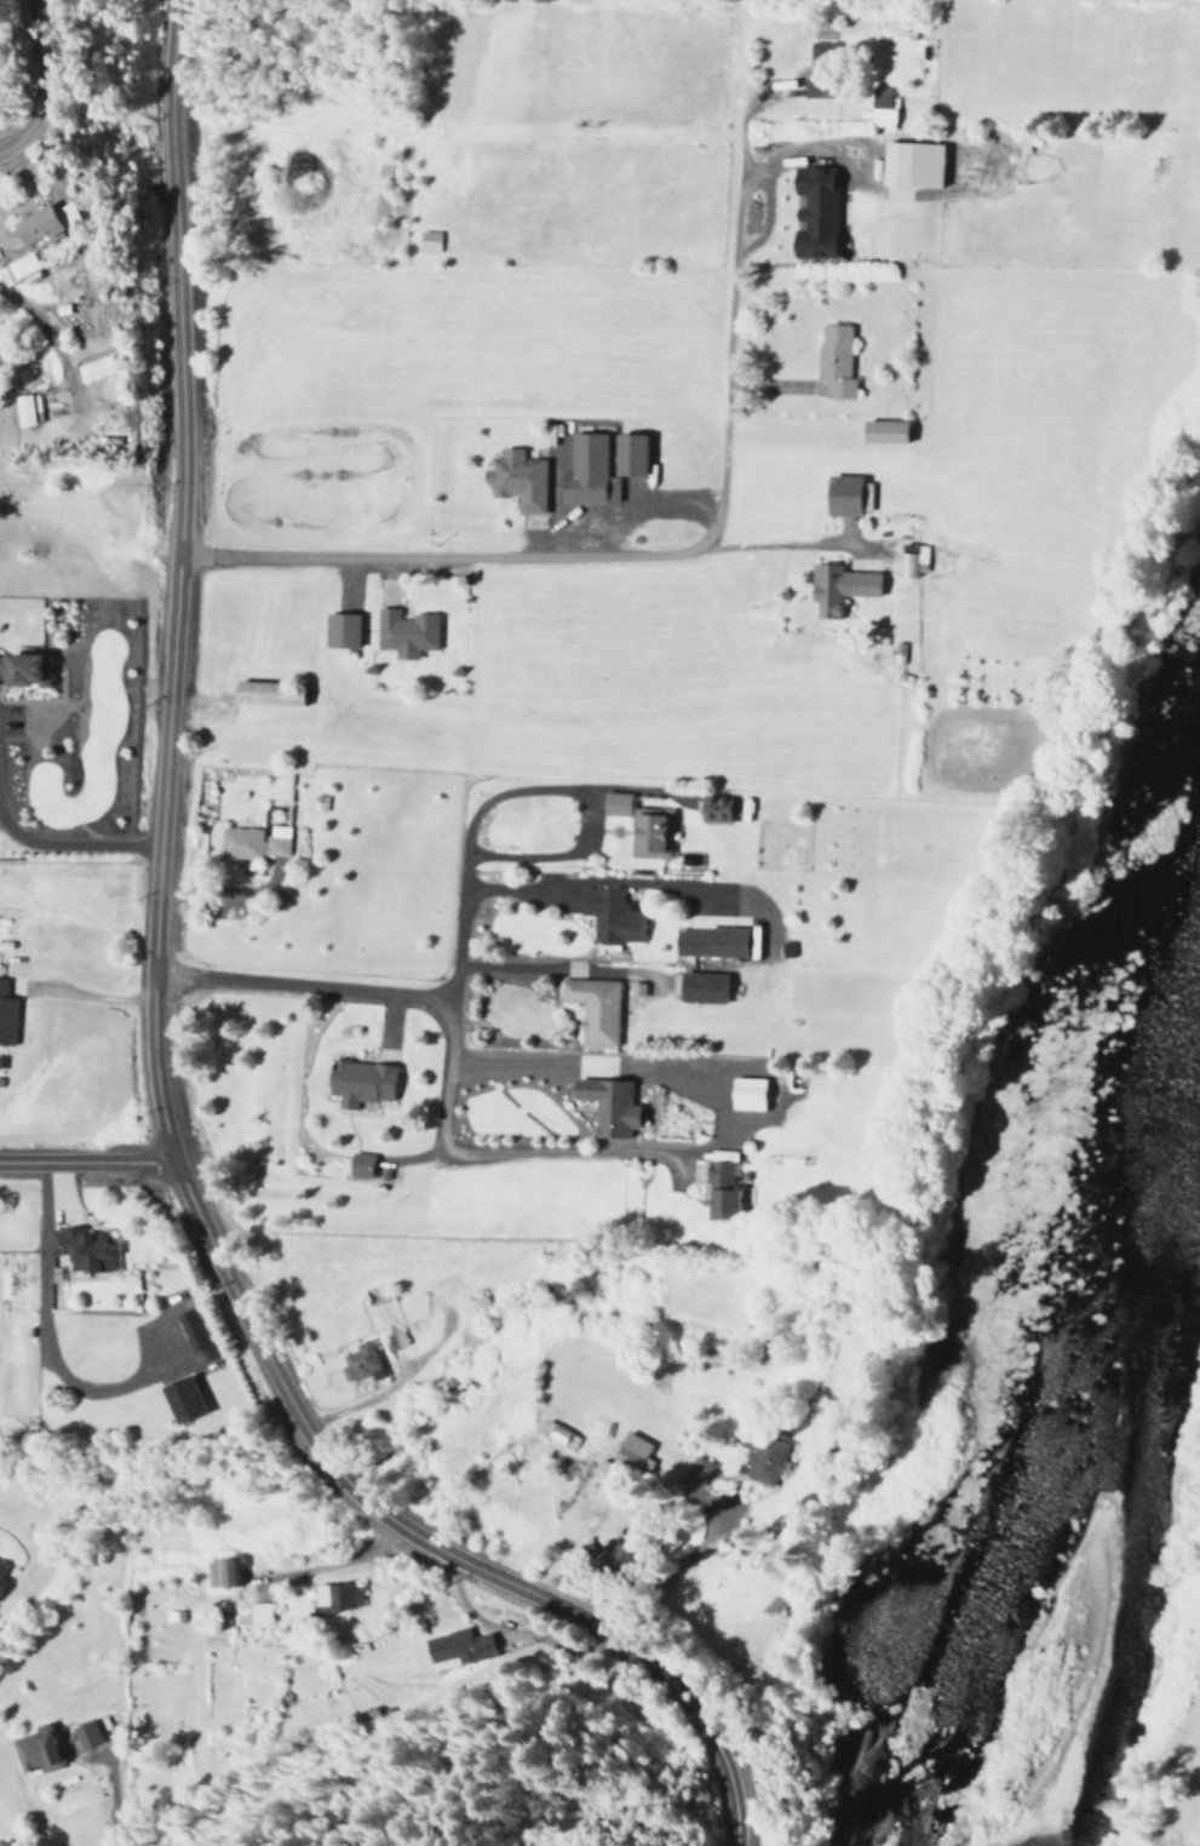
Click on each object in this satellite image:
road: (46, 80)
building: (815, 86)
building: (878, 105)
road: (799, 148)
building: (908, 164)
building: (811, 212)
building: (42, 223)
building: (425, 241)
building: (18, 269)
road: (727, 338)
building: (832, 361)
building: (93, 368)
building: (21, 411)
building: (880, 431)
building: (624, 453)
building: (585, 472)
building: (515, 480)
building: (843, 494)
road: (421, 560)
building: (911, 562)
road: (183, 581)
building: (836, 587)
building: (338, 630)
building: (402, 632)
building: (22, 671)
building: (264, 693)
building: (613, 803)
building: (712, 809)
road: (473, 816)
building: (648, 833)
building: (252, 842)
road: (80, 848)
road: (558, 856)
road: (668, 887)
building: (608, 917)
building: (712, 942)
road: (558, 970)
building: (699, 988)
road: (308, 990)
building: (633, 990)
building: (591, 1009)
building: (6, 1017)
road: (603, 1061)
building: (357, 1083)
building: (743, 1094)
road: (443, 1097)
building: (604, 1106)
road: (713, 1111)
road: (561, 1156)
road: (87, 1162)
building: (357, 1165)
building: (718, 1191)
building: (80, 1250)
building: (190, 1330)
building: (386, 1342)
building: (357, 1364)
building: (178, 1400)
river: (1124, 1400)
building: (558, 1437)
building: (630, 1451)
building: (759, 1458)
building: (693, 1480)
road: (424, 1542)
building: (0, 1567)
building: (219, 1573)
building: (334, 1598)
building: (253, 1615)
building: (457, 1649)
building: (84, 1732)
building: (33, 1747)
road: (117, 1811)
building: (2, 1845)

